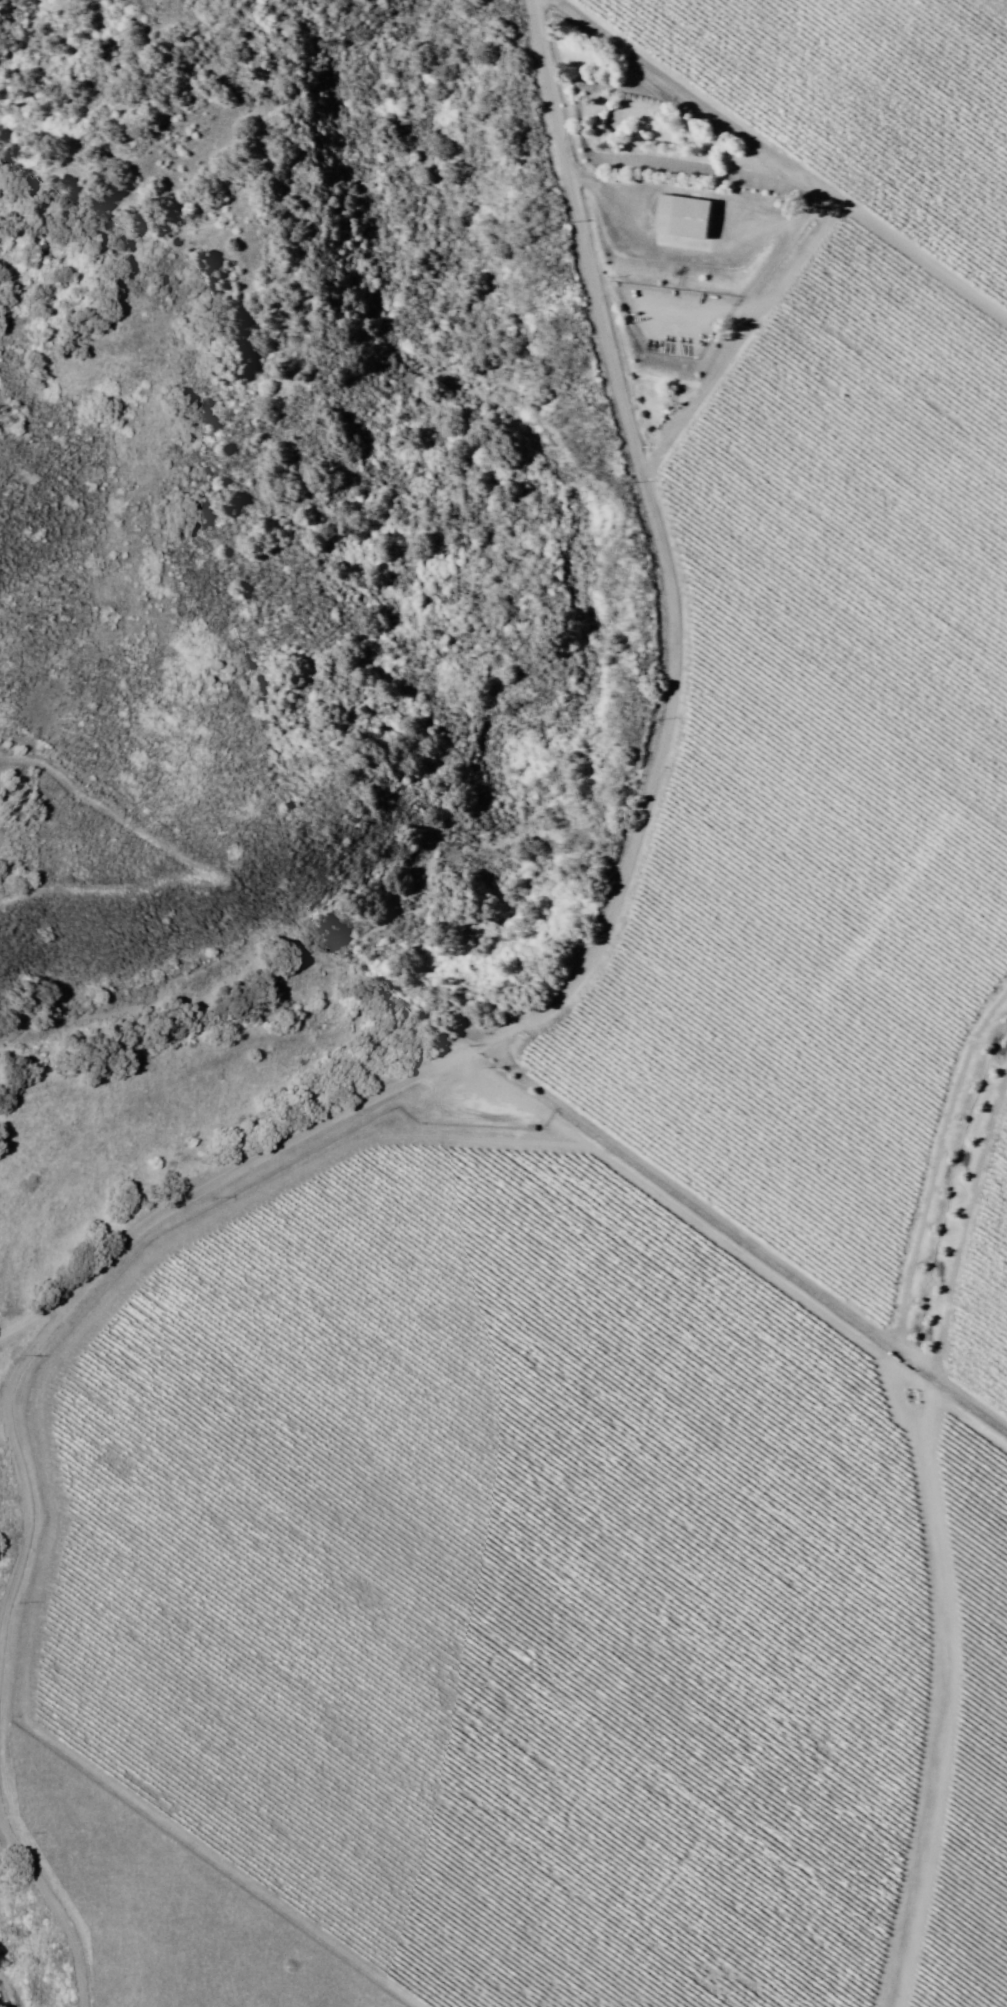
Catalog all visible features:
building: (687, 215)
road: (640, 834)
road: (20, 1536)
road: (43, 1905)

